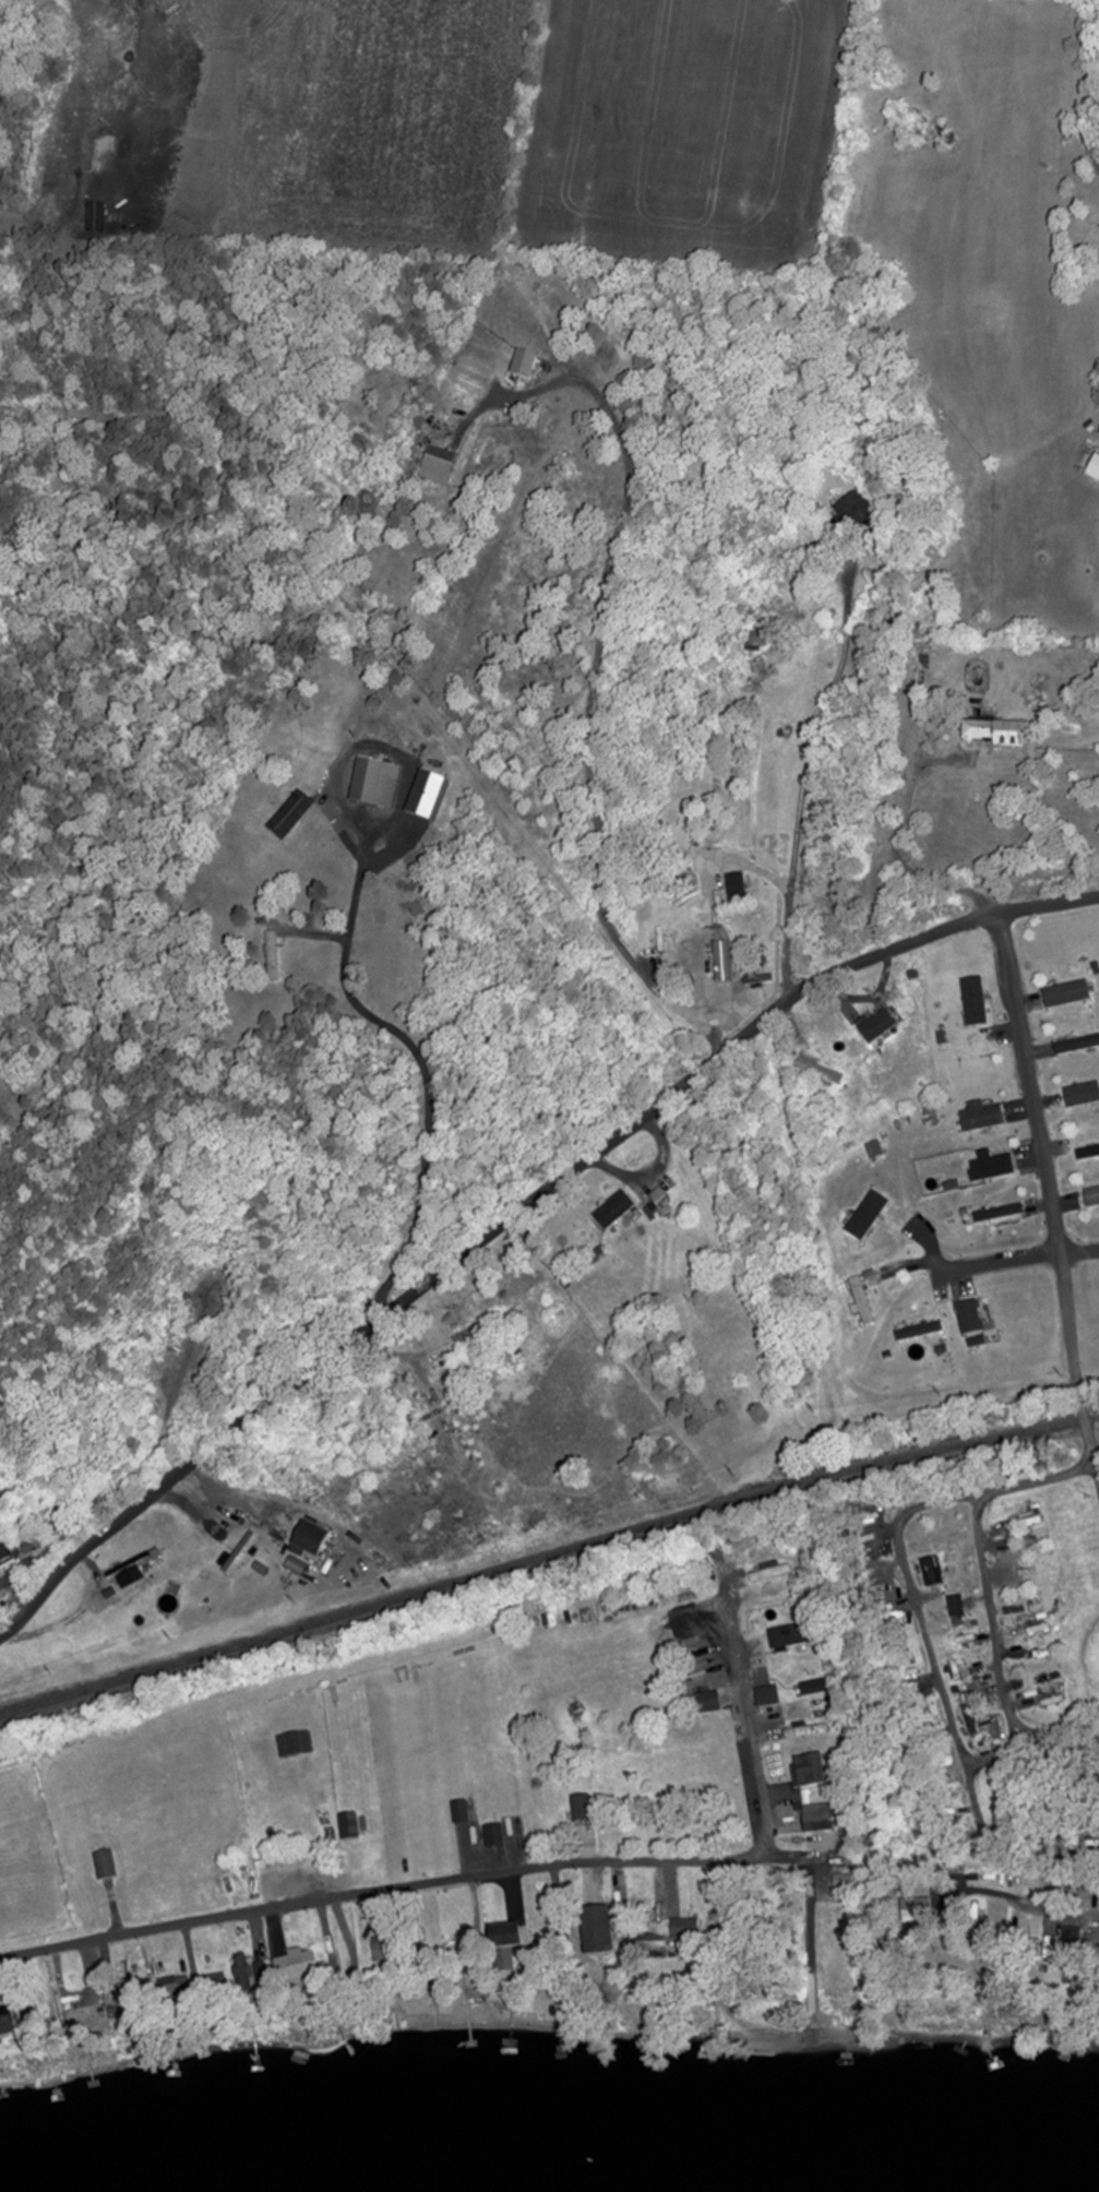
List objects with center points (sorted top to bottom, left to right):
road: (1090, 128)
road: (590, 723)
building: (999, 732)
road: (803, 778)
road: (900, 862)
building: (736, 887)
road: (887, 950)
building: (267, 955)
building: (710, 955)
building: (758, 955)
building: (1066, 992)
building: (975, 1000)
road: (715, 1022)
building: (875, 1024)
building: (1076, 1044)
road: (416, 1060)
building: (817, 1070)
building: (1082, 1093)
building: (981, 1115)
building: (952, 1127)
building: (1087, 1151)
building: (990, 1165)
road: (1046, 1188)
building: (609, 1208)
building: (995, 1212)
road: (1026, 1256)
building: (858, 1299)
building: (471, 1327)
road: (339, 1335)
road: (1097, 1462)
road: (1097, 1468)
building: (303, 1539)
building: (14, 1544)
building: (232, 1552)
railway: (547, 1556)
building: (128, 1563)
building: (929, 1570)
building: (766, 1572)
building: (169, 1591)
building: (952, 1605)
road: (993, 1618)
building: (783, 1635)
road: (932, 1653)
building: (807, 1687)
building: (762, 1695)
building: (800, 1730)
road: (1031, 1738)
building: (803, 1770)
building: (575, 1808)
building: (811, 1822)
road: (1044, 1855)
building: (99, 1863)
road: (517, 1868)
building: (680, 1928)
building: (589, 1929)
building: (642, 1941)
building: (1066, 1943)
building: (1088, 1943)
building: (481, 1946)
building: (289, 1964)
building: (236, 1970)
building: (208, 1981)
building: (167, 1987)
building: (124, 1992)
building: (70, 2010)
building: (23, 2017)
building: (2, 2021)

